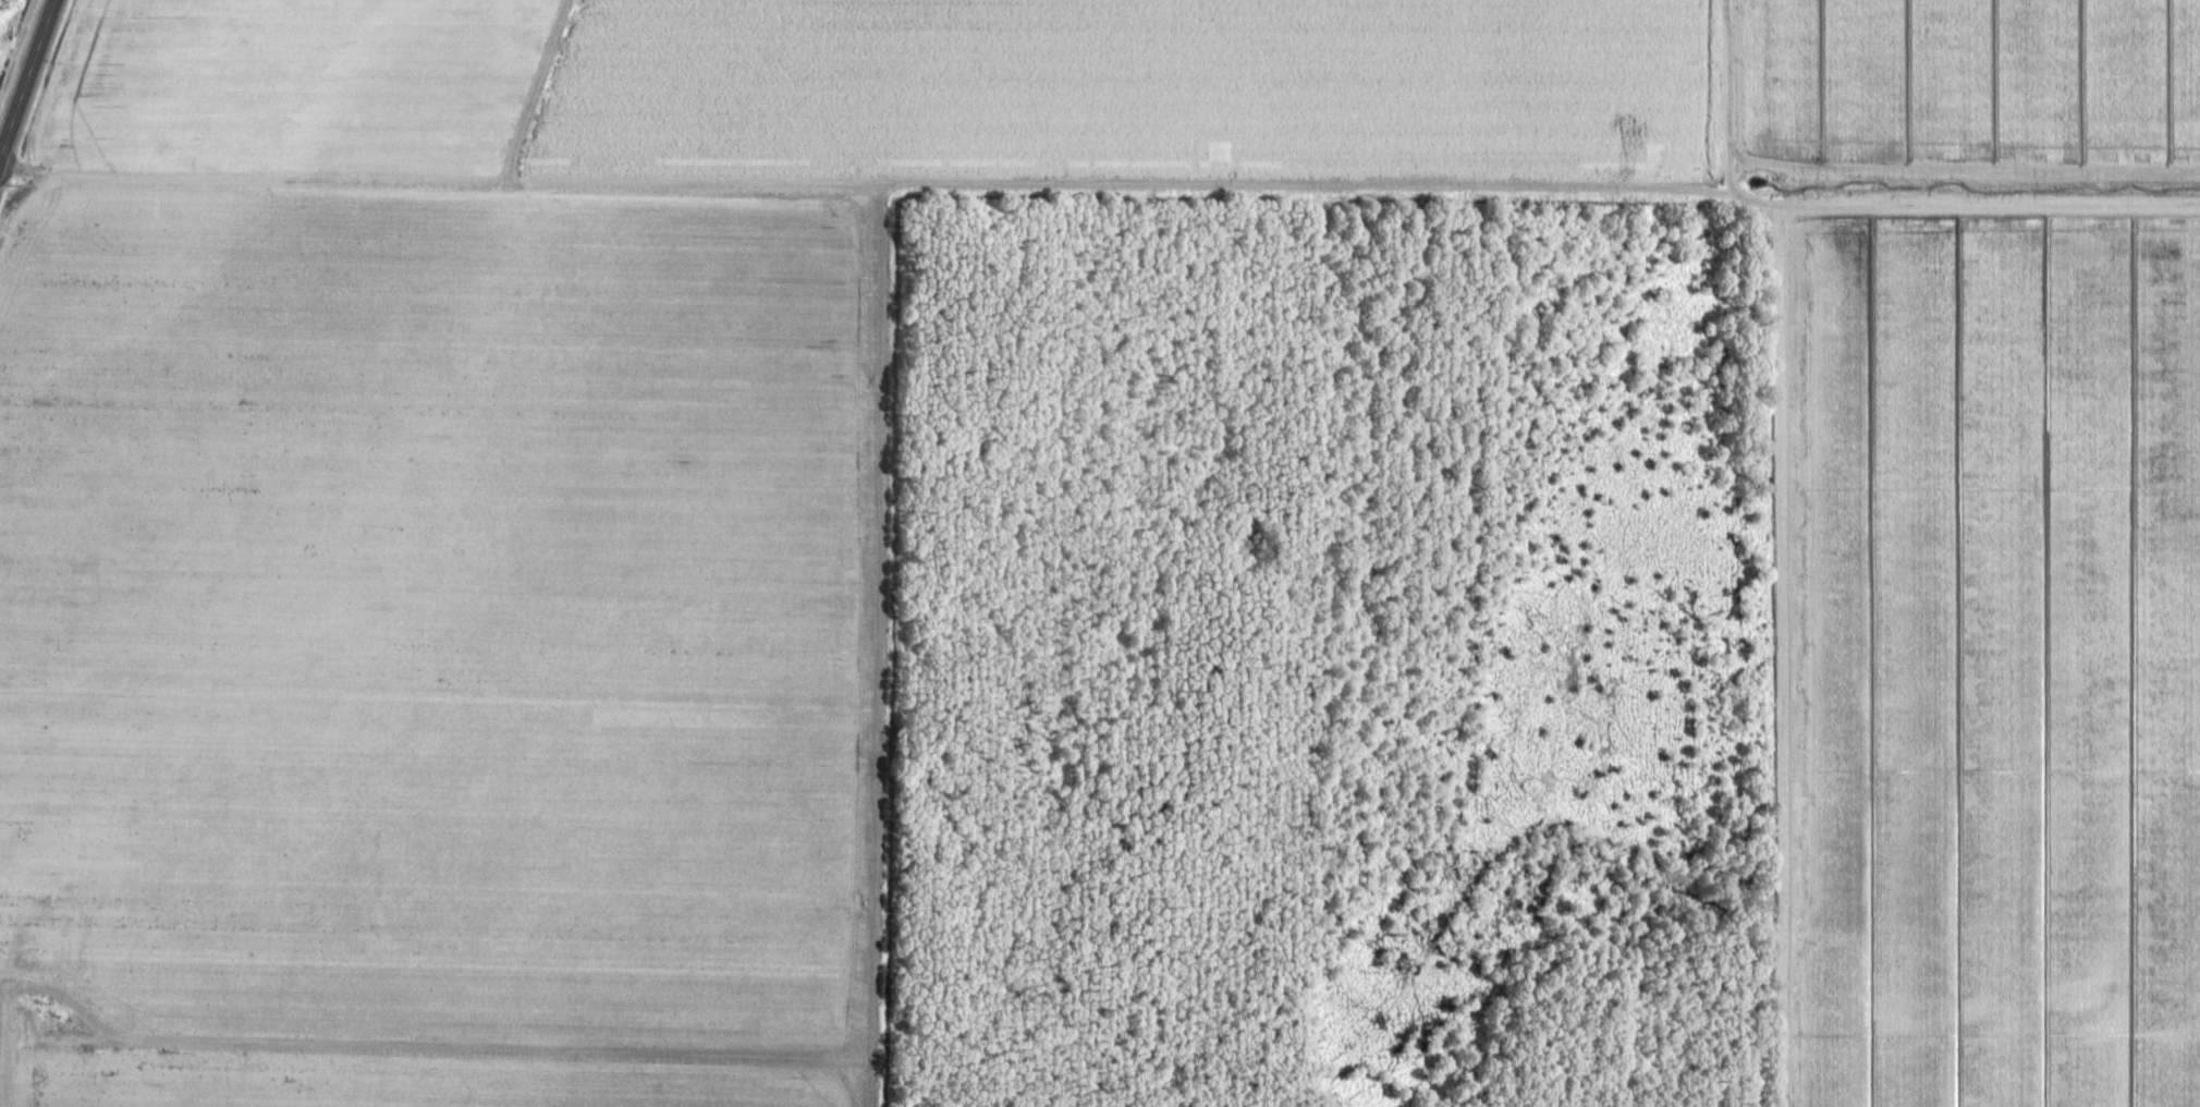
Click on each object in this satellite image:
road: (25, 77)
road: (1099, 197)
road: (1782, 652)
road: (27, 1039)

